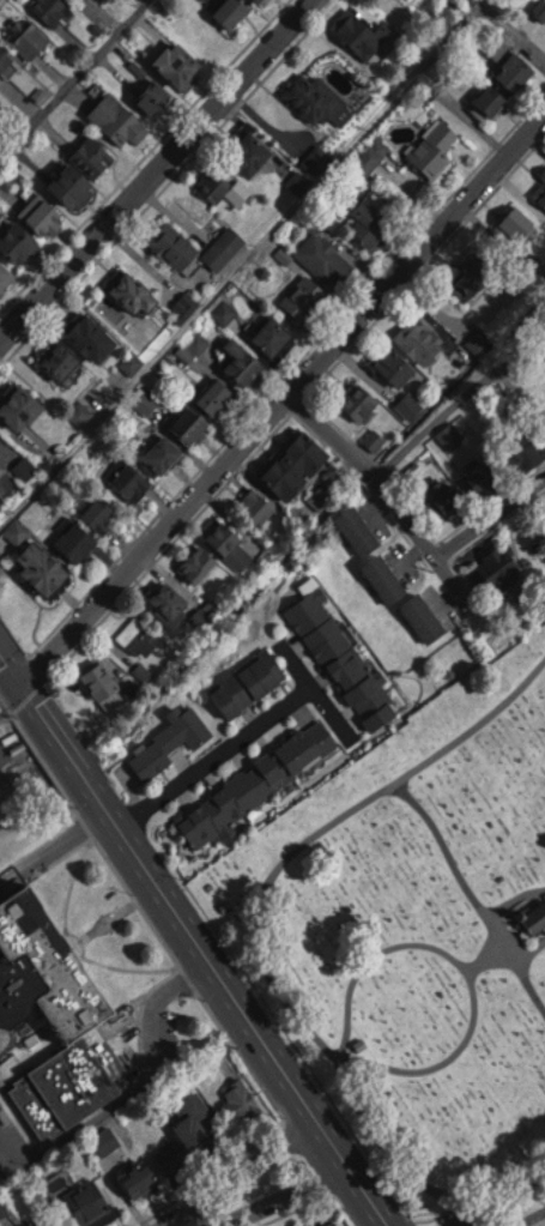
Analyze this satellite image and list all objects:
building: (89, 0)
building: (266, 1)
building: (54, 10)
building: (540, 10)
building: (234, 12)
building: (365, 31)
building: (29, 37)
building: (5, 58)
building: (182, 65)
road: (73, 78)
building: (508, 83)
building: (317, 96)
building: (155, 97)
building: (0, 99)
building: (117, 119)
building: (434, 146)
building: (252, 149)
building: (320, 157)
building: (370, 157)
road: (143, 168)
building: (83, 170)
building: (543, 173)
building: (302, 180)
building: (217, 183)
building: (540, 192)
building: (44, 213)
building: (373, 223)
building: (519, 227)
road: (272, 231)
building: (20, 241)
building: (176, 244)
building: (226, 247)
building: (326, 259)
building: (5, 276)
building: (472, 276)
building: (134, 290)
building: (305, 298)
building: (225, 312)
building: (275, 336)
building: (96, 337)
building: (420, 339)
building: (472, 345)
building: (63, 360)
building: (246, 363)
building: (393, 366)
building: (219, 397)
road: (283, 399)
road: (459, 400)
building: (362, 401)
building: (410, 405)
building: (23, 406)
building: (192, 425)
building: (449, 436)
building: (0, 443)
building: (166, 453)
building: (296, 464)
building: (1, 466)
building: (484, 475)
building: (129, 478)
road: (389, 496)
building: (447, 496)
building: (260, 509)
building: (104, 513)
road: (489, 515)
building: (359, 530)
building: (78, 539)
building: (232, 545)
building: (199, 564)
building: (46, 567)
building: (503, 567)
building: (384, 578)
building: (171, 604)
building: (424, 616)
building: (138, 638)
building: (344, 662)
road: (301, 674)
building: (103, 681)
building: (248, 683)
road: (7, 695)
building: (170, 743)
road: (211, 756)
building: (259, 781)
road: (50, 846)
building: (533, 911)
road: (192, 942)
park: (419, 944)
road: (149, 1011)
building: (59, 1015)
building: (242, 1100)
building: (195, 1122)
road: (85, 1124)
road: (12, 1137)
building: (168, 1153)
road: (242, 1171)
building: (141, 1178)
road: (283, 1196)
building: (92, 1204)
building: (35, 1224)
building: (334, 1224)

